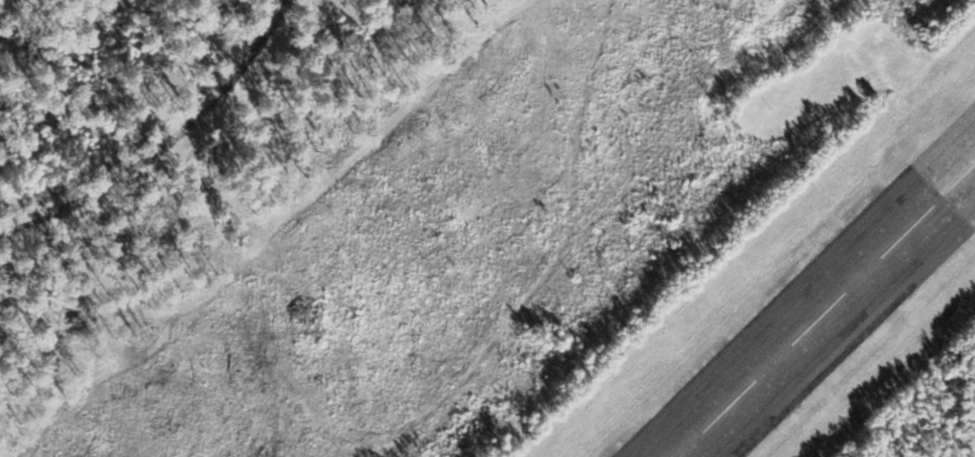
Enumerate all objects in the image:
airport taxiway: (957, 189)
airport: (487, 228)
airport runway: (809, 328)
building: (747, 421)

